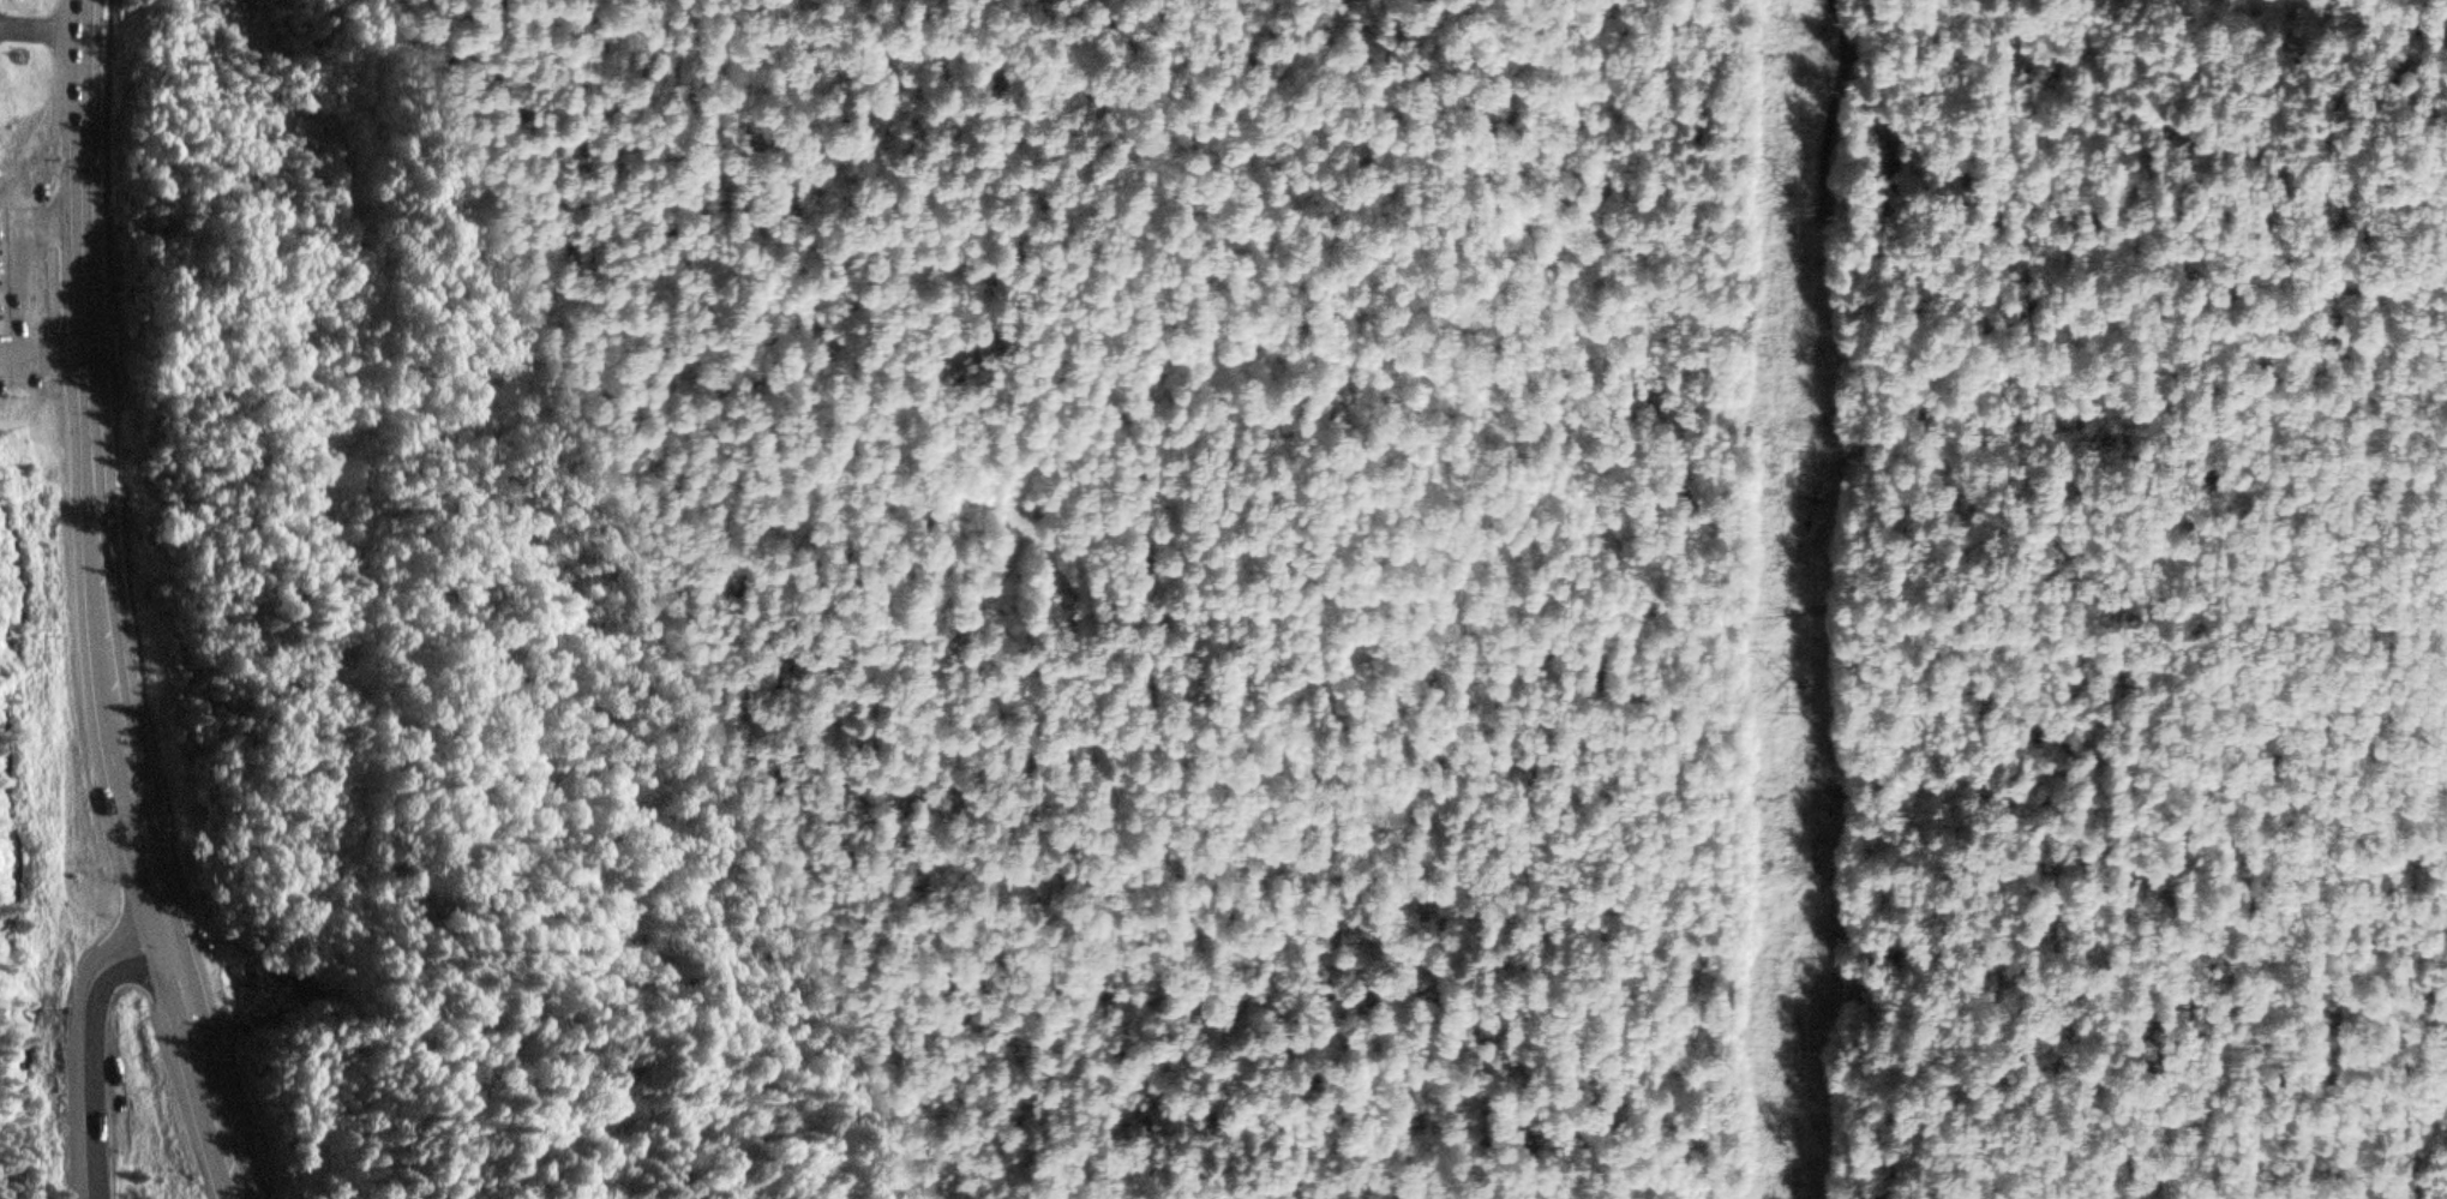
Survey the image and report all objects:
power tower: (1800, 193)
road: (2027, 290)
road: (84, 366)
river: (0, 645)
power tower: (1799, 687)
road: (139, 835)
river: (12, 898)
parking lot: (192, 969)
road: (85, 1045)
road: (200, 1069)
river: (23, 1098)

